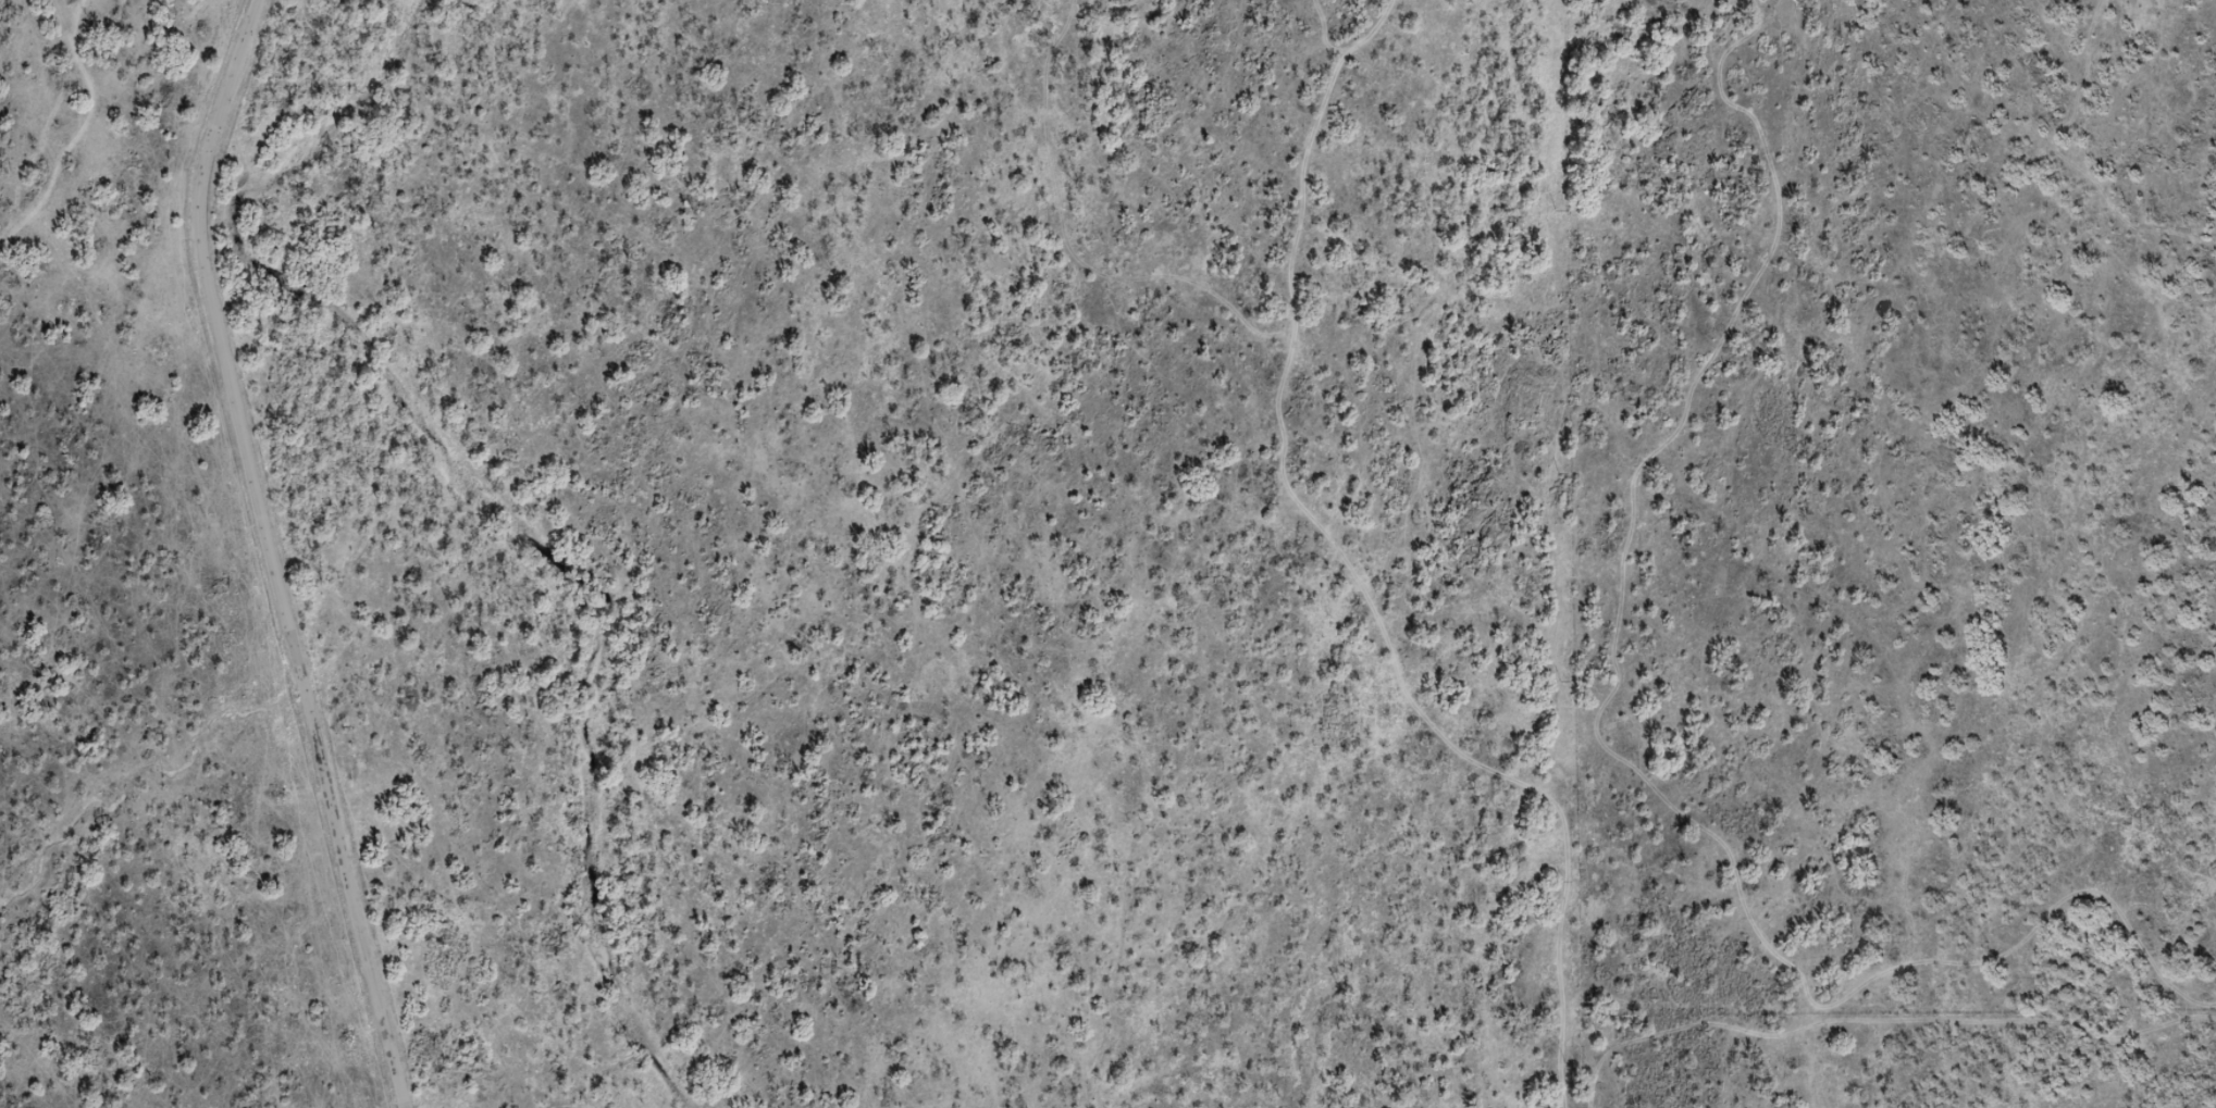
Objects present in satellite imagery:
road: (273, 552)

